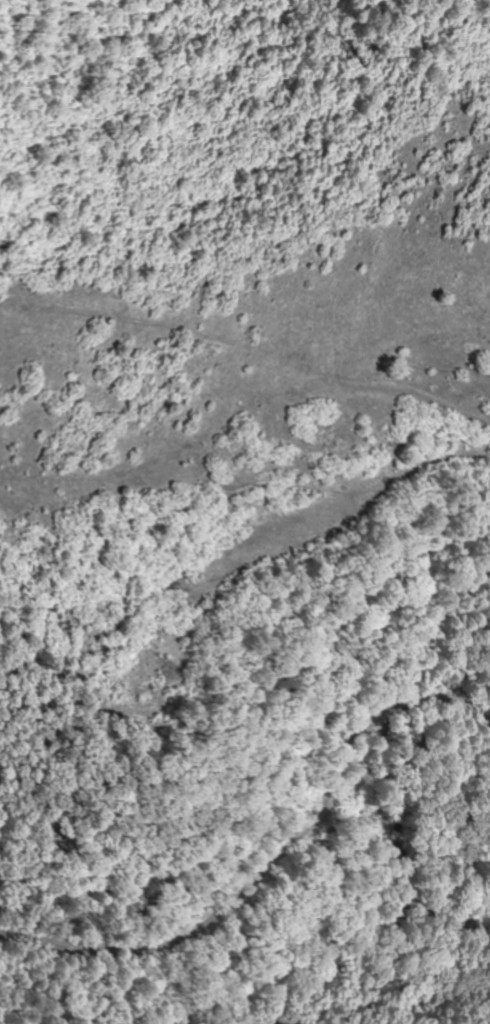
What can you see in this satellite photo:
road: (16, 746)
road: (270, 807)

